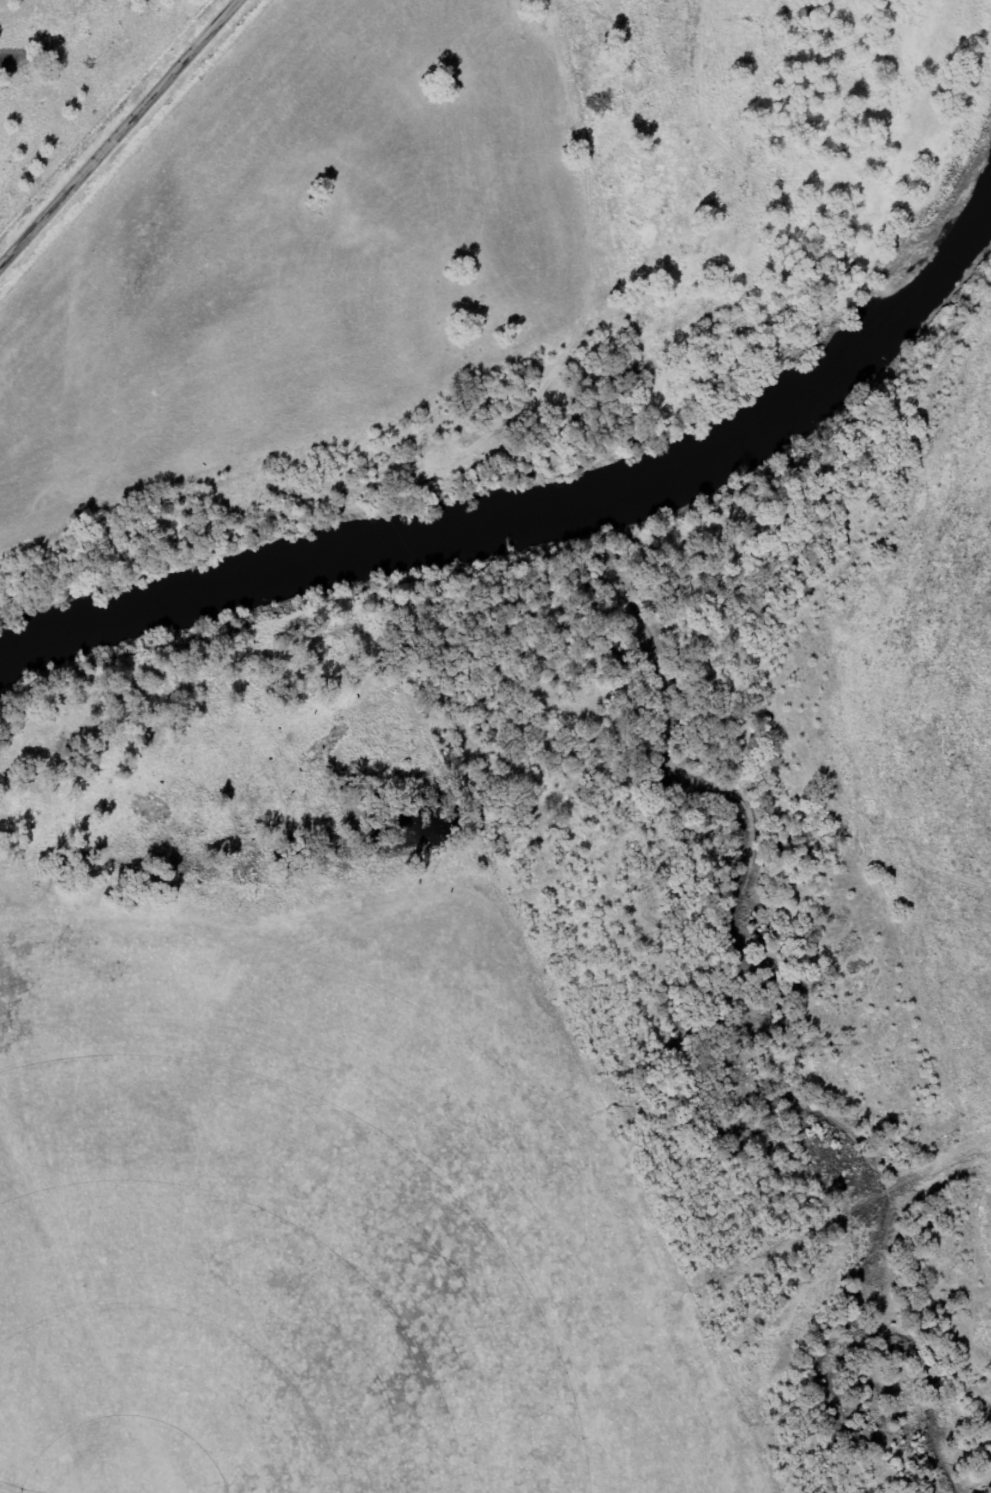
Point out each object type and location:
road: (119, 134)
river: (543, 514)
road: (890, 775)
road: (631, 1216)

